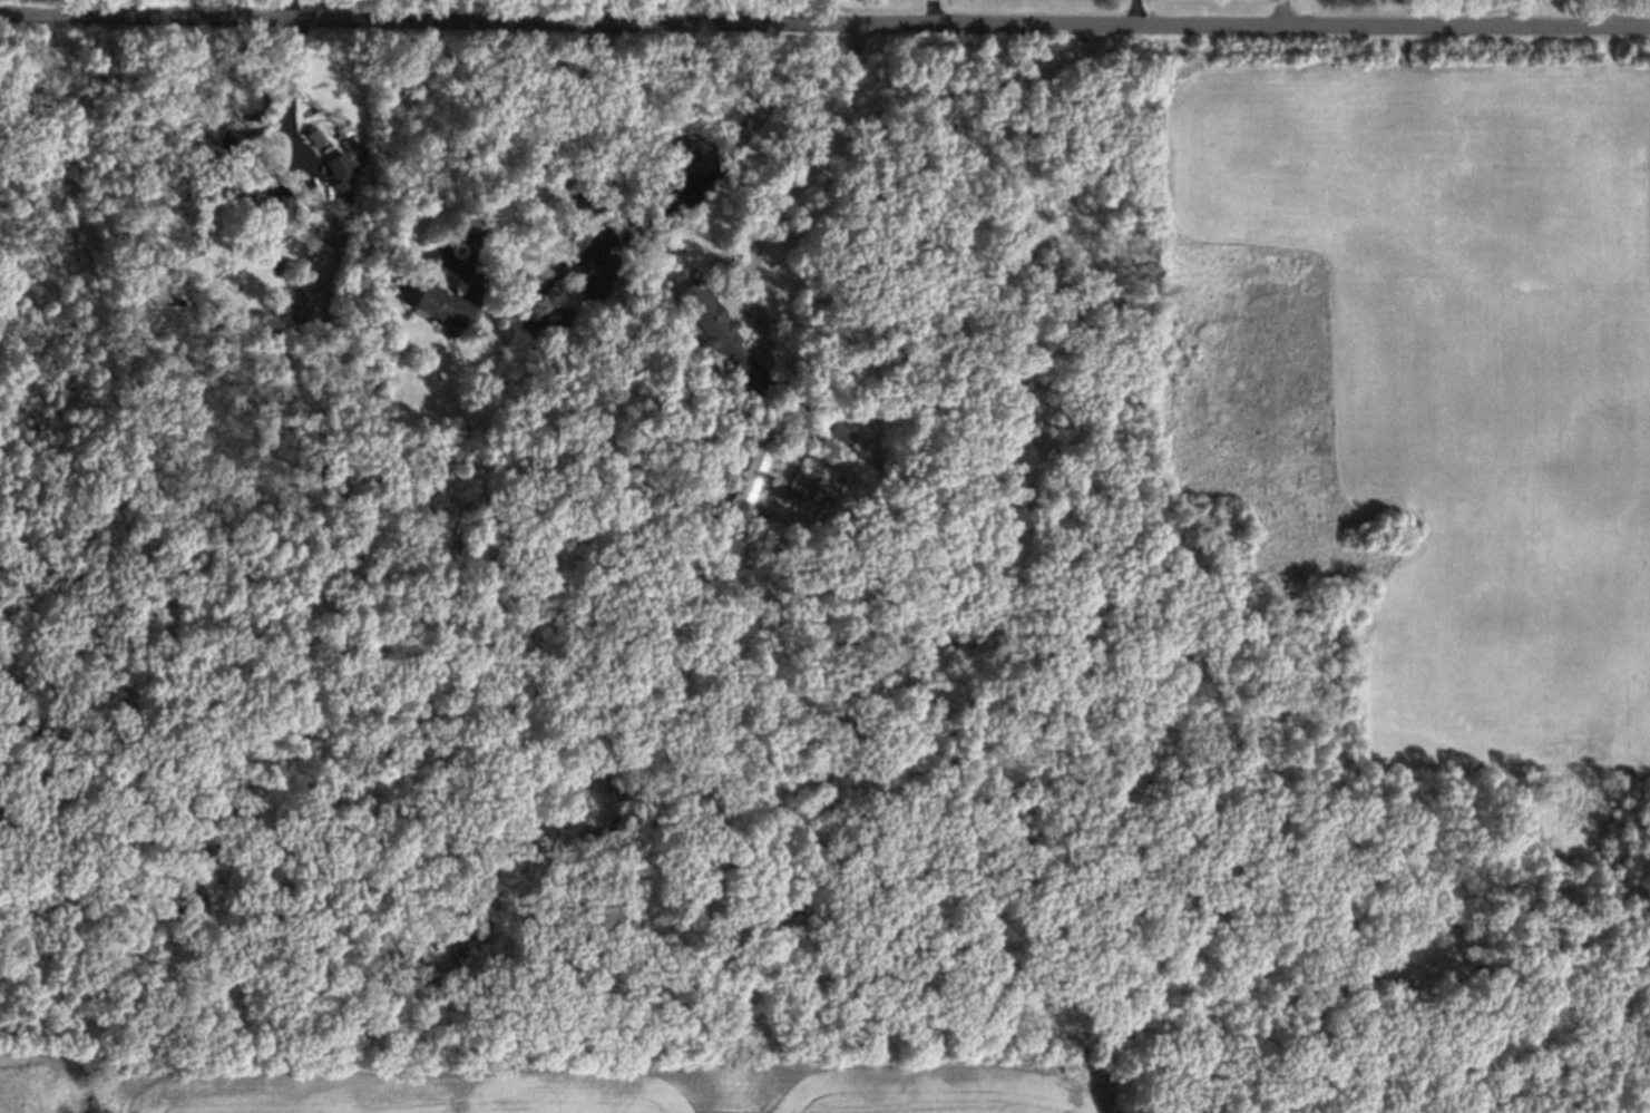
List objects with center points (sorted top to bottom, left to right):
road: (110, 8)
road: (287, 8)
road: (598, 9)
road: (1138, 11)
road: (1287, 12)
road: (824, 20)
road: (294, 87)
building: (212, 129)
road: (553, 136)
building: (318, 137)
building: (341, 165)
road: (792, 184)
building: (283, 205)
building: (480, 292)
building: (440, 307)
building: (714, 328)
building: (748, 372)
building: (839, 435)
building: (756, 463)
crop: (27, 1082)
crop: (631, 1088)

